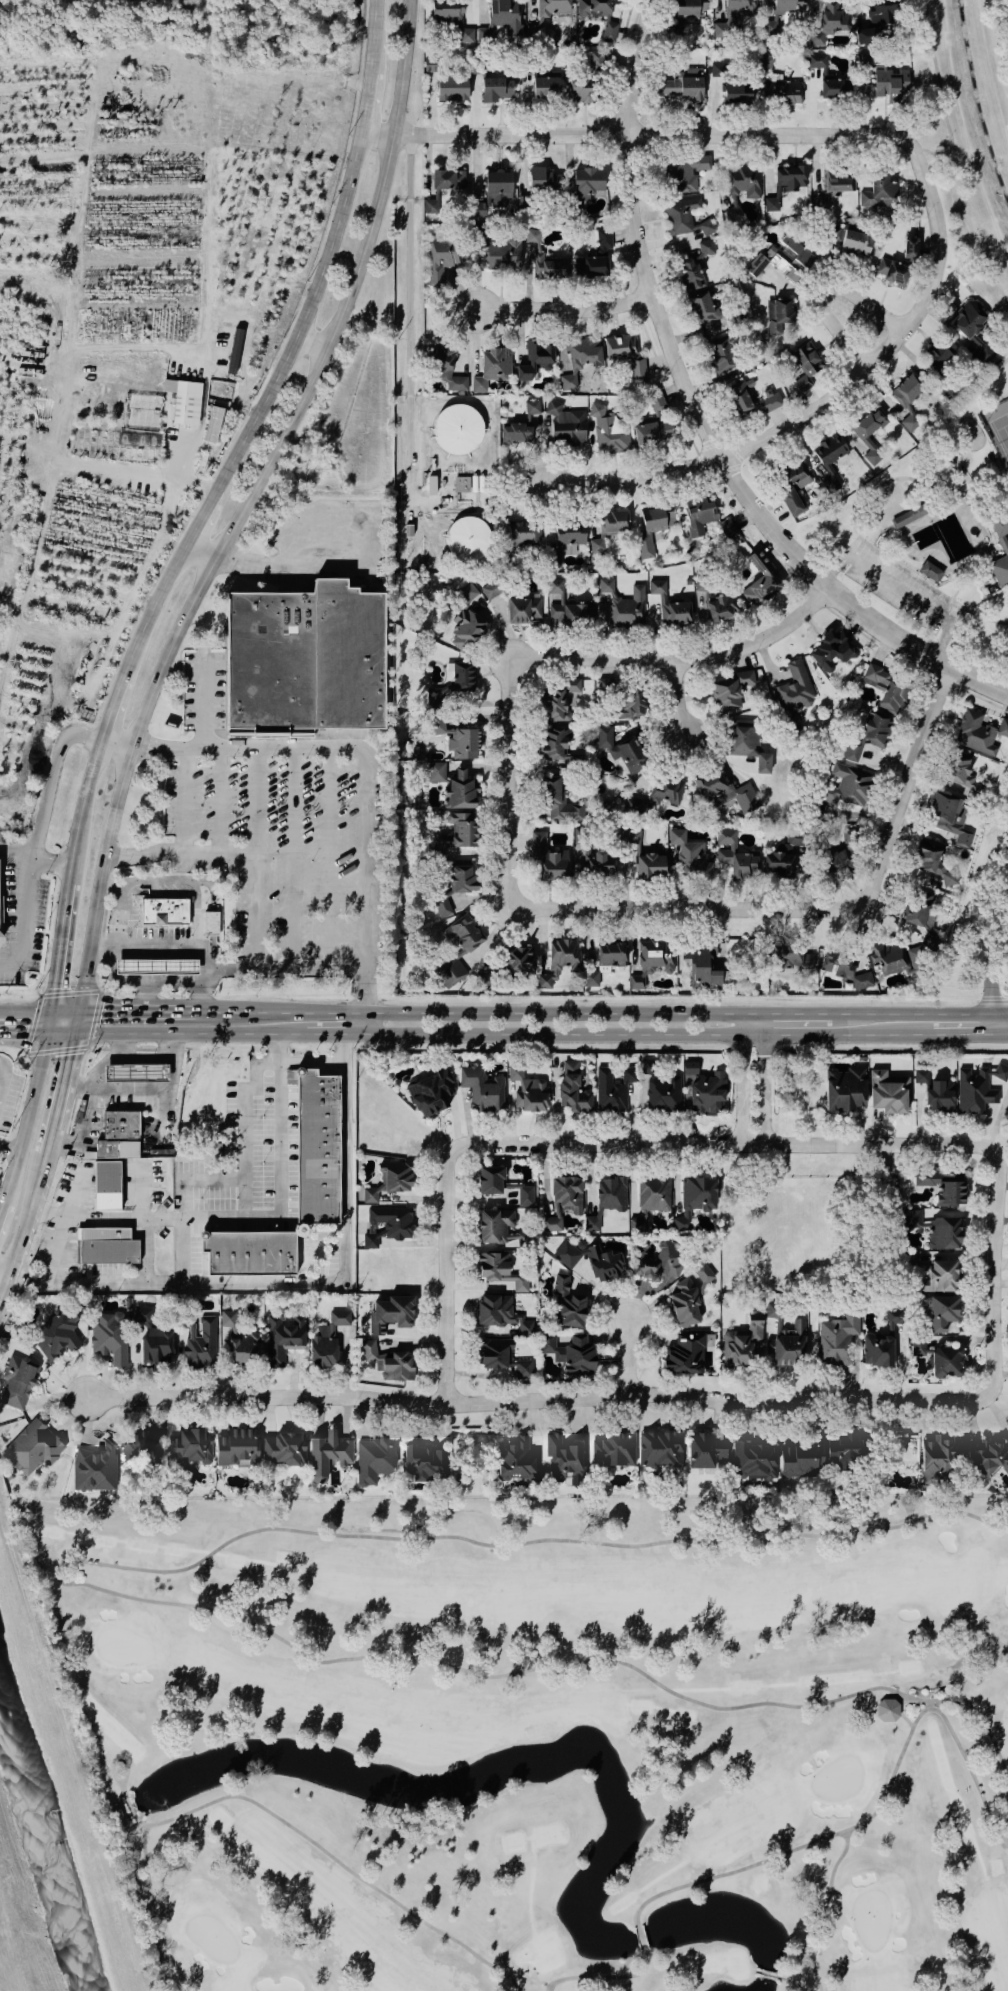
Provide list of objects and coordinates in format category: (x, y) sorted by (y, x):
building: (593, 8)
building: (687, 9)
building: (883, 10)
building: (547, 15)
building: (732, 15)
building: (775, 16)
building: (451, 18)
building: (501, 19)
building: (829, 22)
building: (610, 31)
road: (1000, 33)
building: (867, 35)
road: (370, 37)
building: (596, 60)
building: (816, 60)
building: (718, 69)
building: (890, 83)
building: (683, 84)
building: (496, 87)
building: (545, 87)
building: (835, 87)
building: (451, 88)
building: (580, 89)
building: (781, 89)
building: (737, 91)
road: (361, 103)
park: (965, 132)
road: (371, 133)
road: (642, 133)
road: (926, 150)
road: (944, 161)
building: (687, 171)
building: (447, 178)
building: (543, 179)
building: (745, 179)
building: (588, 180)
building: (835, 181)
building: (785, 184)
building: (497, 186)
building: (879, 191)
building: (431, 203)
building: (733, 213)
building: (685, 216)
building: (532, 235)
building: (853, 242)
building: (910, 246)
building: (502, 253)
building: (440, 256)
building: (596, 256)
building: (789, 256)
building: (756, 264)
building: (551, 268)
building: (892, 270)
road: (825, 297)
road: (561, 307)
building: (702, 307)
road: (301, 313)
building: (777, 314)
road: (407, 324)
building: (973, 328)
building: (235, 352)
building: (625, 352)
building: (939, 353)
building: (723, 354)
building: (580, 358)
building: (535, 359)
building: (804, 365)
building: (492, 367)
building: (450, 375)
road: (978, 390)
road: (992, 391)
road: (831, 397)
building: (183, 398)
building: (752, 399)
building: (907, 399)
building: (531, 406)
road: (702, 409)
road: (199, 417)
building: (654, 422)
building: (213, 423)
building: (566, 423)
building: (457, 428)
building: (609, 429)
park: (997, 429)
building: (516, 432)
park: (1000, 433)
building: (862, 436)
road: (929, 450)
building: (830, 459)
road: (968, 471)
road: (944, 473)
building: (461, 483)
building: (792, 484)
road: (917, 492)
park: (890, 498)
road: (240, 504)
road: (857, 506)
road: (201, 509)
road: (935, 512)
building: (699, 513)
building: (910, 514)
building: (614, 521)
road: (968, 522)
building: (653, 526)
building: (727, 527)
road: (875, 531)
park: (933, 531)
building: (525, 534)
building: (467, 537)
building: (597, 544)
building: (1005, 544)
road: (199, 546)
road: (853, 549)
road: (940, 559)
road: (293, 566)
building: (930, 571)
road: (923, 575)
road: (964, 577)
building: (760, 580)
parking lot: (895, 587)
building: (491, 589)
building: (466, 592)
road: (899, 594)
road: (985, 597)
building: (623, 604)
road: (150, 605)
building: (567, 605)
building: (670, 605)
building: (722, 606)
building: (524, 608)
road: (977, 616)
building: (466, 629)
building: (831, 650)
road: (569, 657)
building: (304, 662)
building: (453, 680)
building: (886, 687)
building: (794, 688)
building: (730, 689)
road: (680, 696)
building: (556, 699)
road: (200, 703)
road: (110, 707)
building: (978, 732)
building: (866, 735)
building: (458, 739)
building: (748, 742)
building: (554, 743)
road: (114, 744)
building: (621, 748)
road: (362, 770)
road: (183, 771)
building: (436, 771)
building: (963, 775)
road: (51, 779)
building: (849, 785)
building: (460, 789)
building: (667, 790)
building: (724, 791)
road: (219, 799)
building: (559, 802)
road: (257, 803)
road: (79, 809)
building: (949, 817)
parking lot: (275, 828)
building: (459, 830)
road: (10, 846)
building: (784, 854)
building: (589, 855)
building: (735, 855)
building: (690, 856)
road: (44, 858)
building: (548, 858)
road: (295, 859)
road: (330, 859)
building: (837, 861)
building: (650, 865)
building: (461, 879)
road: (1, 900)
road: (818, 906)
building: (442, 907)
building: (917, 909)
building: (163, 911)
parking lot: (21, 914)
road: (105, 917)
road: (248, 917)
road: (25, 922)
building: (211, 922)
road: (116, 925)
road: (157, 925)
road: (22, 928)
building: (462, 932)
building: (929, 937)
road: (57, 946)
road: (155, 947)
road: (100, 951)
building: (611, 953)
building: (789, 956)
building: (519, 958)
building: (901, 958)
building: (560, 960)
building: (651, 961)
gas station: (161, 964)
building: (156, 966)
road: (227, 967)
building: (844, 968)
road: (1003, 970)
building: (450, 973)
road: (97, 978)
building: (590, 978)
traffic signals: (51, 988)
road: (206, 989)
road: (23, 1010)
road: (64, 1010)
traffic signals: (102, 1010)
road: (147, 1010)
road: (477, 1012)
road: (754, 1012)
road: (798, 1012)
road: (919, 1012)
road: (45, 1020)
road: (80, 1021)
road: (363, 1022)
road: (21, 1031)
traffic signals: (25, 1031)
road: (61, 1031)
road: (193, 1033)
road: (336, 1033)
road: (647, 1033)
road: (967, 1035)
road: (1006, 1035)
road: (82, 1046)
traffic signals: (73, 1054)
road: (98, 1067)
building: (135, 1072)
gas station: (135, 1072)
building: (920, 1075)
road: (0, 1076)
road: (743, 1078)
road: (764, 1078)
road: (66, 1080)
road: (157, 1087)
building: (613, 1087)
building: (660, 1087)
building: (978, 1087)
building: (845, 1088)
building: (482, 1089)
building: (573, 1089)
building: (703, 1089)
building: (528, 1090)
building: (432, 1091)
building: (888, 1091)
building: (940, 1095)
road: (23, 1115)
building: (121, 1124)
road: (83, 1128)
road: (50, 1141)
road: (725, 1144)
building: (316, 1147)
road: (7, 1148)
building: (106, 1148)
parking lot: (882, 1155)
building: (391, 1180)
building: (490, 1180)
building: (107, 1184)
building: (943, 1185)
building: (654, 1192)
building: (526, 1196)
building: (607, 1199)
building: (695, 1199)
building: (563, 1201)
road: (1, 1203)
road: (244, 1215)
road: (27, 1217)
park: (804, 1221)
building: (638, 1223)
building: (389, 1224)
building: (936, 1229)
road: (54, 1248)
building: (105, 1248)
road: (145, 1250)
road: (181, 1250)
building: (249, 1252)
building: (592, 1259)
building: (659, 1261)
building: (500, 1270)
road: (446, 1275)
road: (993, 1275)
road: (3, 1277)
building: (940, 1277)
road: (298, 1283)
road: (3, 1286)
building: (689, 1294)
building: (568, 1303)
building: (501, 1312)
building: (942, 1312)
building: (392, 1313)
building: (228, 1318)
building: (59, 1334)
building: (110, 1337)
building: (283, 1337)
building: (838, 1338)
building: (327, 1340)
building: (743, 1342)
building: (201, 1343)
building: (157, 1345)
building: (243, 1347)
building: (877, 1349)
building: (571, 1353)
building: (685, 1354)
road: (627, 1356)
building: (503, 1357)
building: (946, 1361)
building: (389, 1362)
building: (17, 1381)
road: (536, 1400)
building: (190, 1446)
building: (33, 1447)
building: (144, 1447)
building: (237, 1447)
building: (285, 1449)
building: (614, 1449)
building: (660, 1449)
building: (706, 1450)
building: (845, 1451)
building: (328, 1453)
building: (565, 1457)
building: (939, 1457)
building: (375, 1458)
building: (801, 1458)
building: (516, 1459)
building: (752, 1459)
building: (988, 1460)
building: (423, 1462)
building: (96, 1467)
building: (888, 1709)
park: (542, 1737)
park: (541, 1738)

